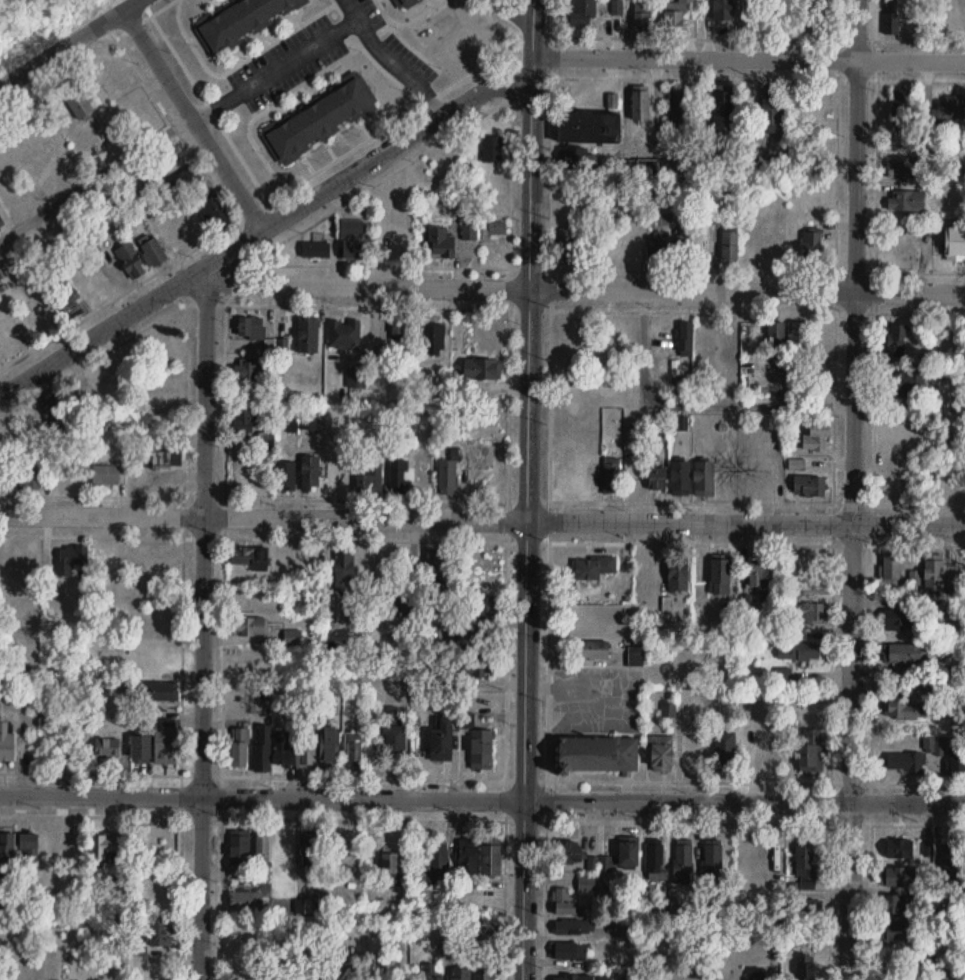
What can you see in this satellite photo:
building: (686, 2)
building: (404, 4)
road: (354, 8)
building: (723, 10)
building: (582, 13)
building: (891, 16)
road: (511, 18)
building: (642, 18)
road: (547, 19)
building: (243, 20)
building: (673, 21)
park: (37, 24)
road: (334, 31)
road: (70, 45)
road: (749, 57)
building: (114, 75)
building: (612, 99)
building: (77, 101)
building: (640, 104)
building: (681, 106)
building: (900, 107)
building: (949, 108)
building: (722, 110)
building: (770, 110)
road: (196, 117)
building: (320, 118)
building: (588, 127)
building: (492, 148)
building: (577, 158)
building: (655, 167)
building: (905, 167)
road: (97, 177)
building: (186, 182)
building: (906, 200)
road: (343, 201)
road: (254, 208)
building: (213, 215)
building: (1, 222)
road: (261, 228)
building: (494, 228)
building: (470, 231)
building: (352, 239)
building: (441, 244)
building: (955, 244)
building: (568, 246)
building: (658, 247)
building: (729, 247)
building: (811, 248)
building: (316, 249)
building: (153, 252)
building: (130, 260)
road: (630, 268)
road: (241, 281)
road: (578, 288)
building: (68, 301)
road: (693, 310)
road: (900, 311)
building: (251, 328)
building: (402, 328)
building: (307, 334)
building: (345, 334)
building: (775, 334)
building: (799, 334)
building: (686, 339)
building: (897, 339)
building: (435, 340)
building: (482, 368)
building: (252, 369)
building: (904, 383)
road: (509, 386)
building: (161, 403)
road: (551, 404)
road: (697, 405)
building: (55, 413)
building: (246, 420)
building: (309, 421)
building: (816, 438)
building: (166, 458)
building: (797, 464)
building: (0, 469)
building: (310, 472)
building: (105, 474)
building: (284, 475)
building: (611, 475)
building: (448, 476)
building: (657, 476)
building: (399, 478)
building: (680, 478)
building: (23, 479)
building: (703, 479)
building: (370, 480)
building: (809, 485)
road: (529, 489)
road: (853, 489)
road: (757, 501)
road: (873, 502)
road: (482, 519)
road: (744, 542)
building: (250, 556)
building: (70, 558)
building: (435, 563)
building: (593, 568)
building: (345, 571)
building: (892, 572)
building: (934, 572)
building: (760, 573)
building: (16, 574)
building: (677, 577)
building: (719, 577)
building: (486, 607)
building: (403, 608)
building: (809, 613)
building: (902, 625)
building: (249, 626)
road: (203, 630)
road: (872, 636)
building: (293, 637)
road: (241, 639)
building: (474, 640)
building: (595, 650)
building: (798, 652)
building: (902, 654)
building: (477, 667)
building: (160, 690)
building: (903, 710)
building: (394, 732)
building: (441, 741)
building: (6, 742)
building: (165, 745)
building: (239, 746)
building: (330, 746)
building: (108, 748)
building: (354, 748)
building: (768, 748)
building: (263, 749)
building: (140, 750)
building: (305, 750)
building: (482, 750)
building: (281, 751)
building: (810, 751)
building: (724, 752)
building: (661, 754)
building: (597, 755)
building: (914, 757)
road: (547, 760)
building: (956, 761)
road: (180, 794)
road: (482, 800)
road: (830, 801)
building: (105, 848)
building: (239, 849)
building: (899, 849)
building: (262, 850)
building: (7, 851)
building: (28, 851)
building: (345, 853)
building: (568, 853)
building: (310, 854)
building: (468, 857)
building: (616, 860)
building: (490, 861)
building: (952, 861)
building: (713, 862)
building: (655, 863)
building: (803, 863)
building: (438, 864)
building: (683, 865)
building: (389, 868)
building: (898, 877)
building: (588, 884)
building: (245, 900)
building: (328, 901)
road: (829, 901)
road: (869, 901)
building: (564, 902)
building: (306, 906)
building: (899, 907)
building: (804, 909)
building: (568, 928)
building: (480, 930)
building: (158, 932)
building: (894, 932)
building: (569, 952)
building: (337, 965)
building: (672, 968)
building: (805, 971)
building: (757, 974)
building: (460, 975)
building: (485, 975)
building: (432, 977)
building: (605, 977)
building: (574, 978)
building: (629, 978)

